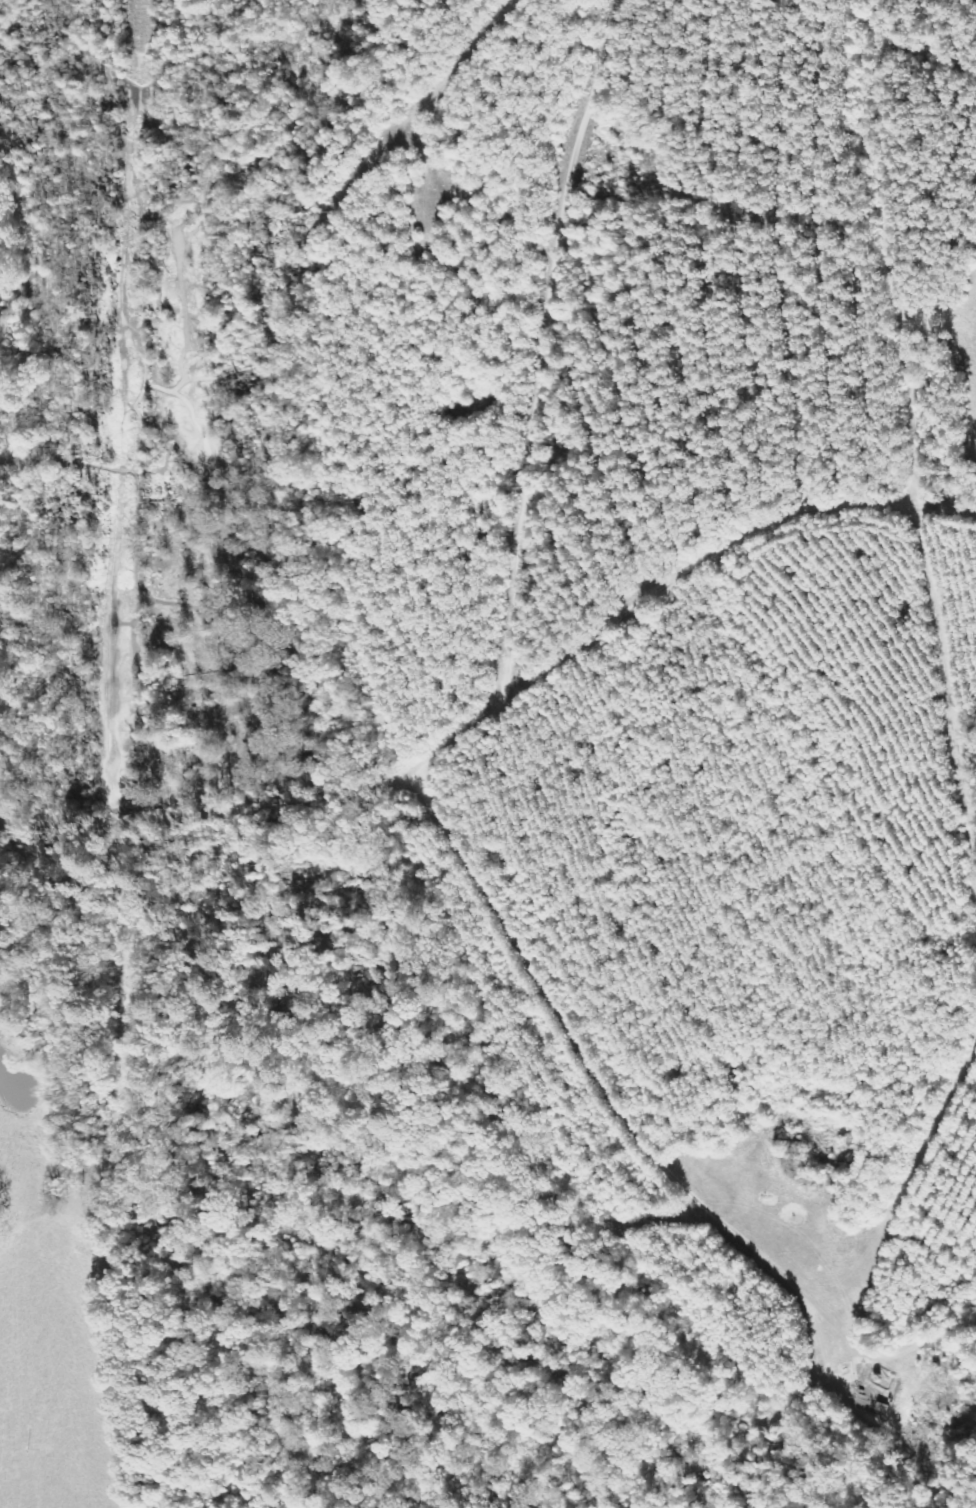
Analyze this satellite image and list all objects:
road: (555, 303)
road: (750, 521)
road: (299, 772)

